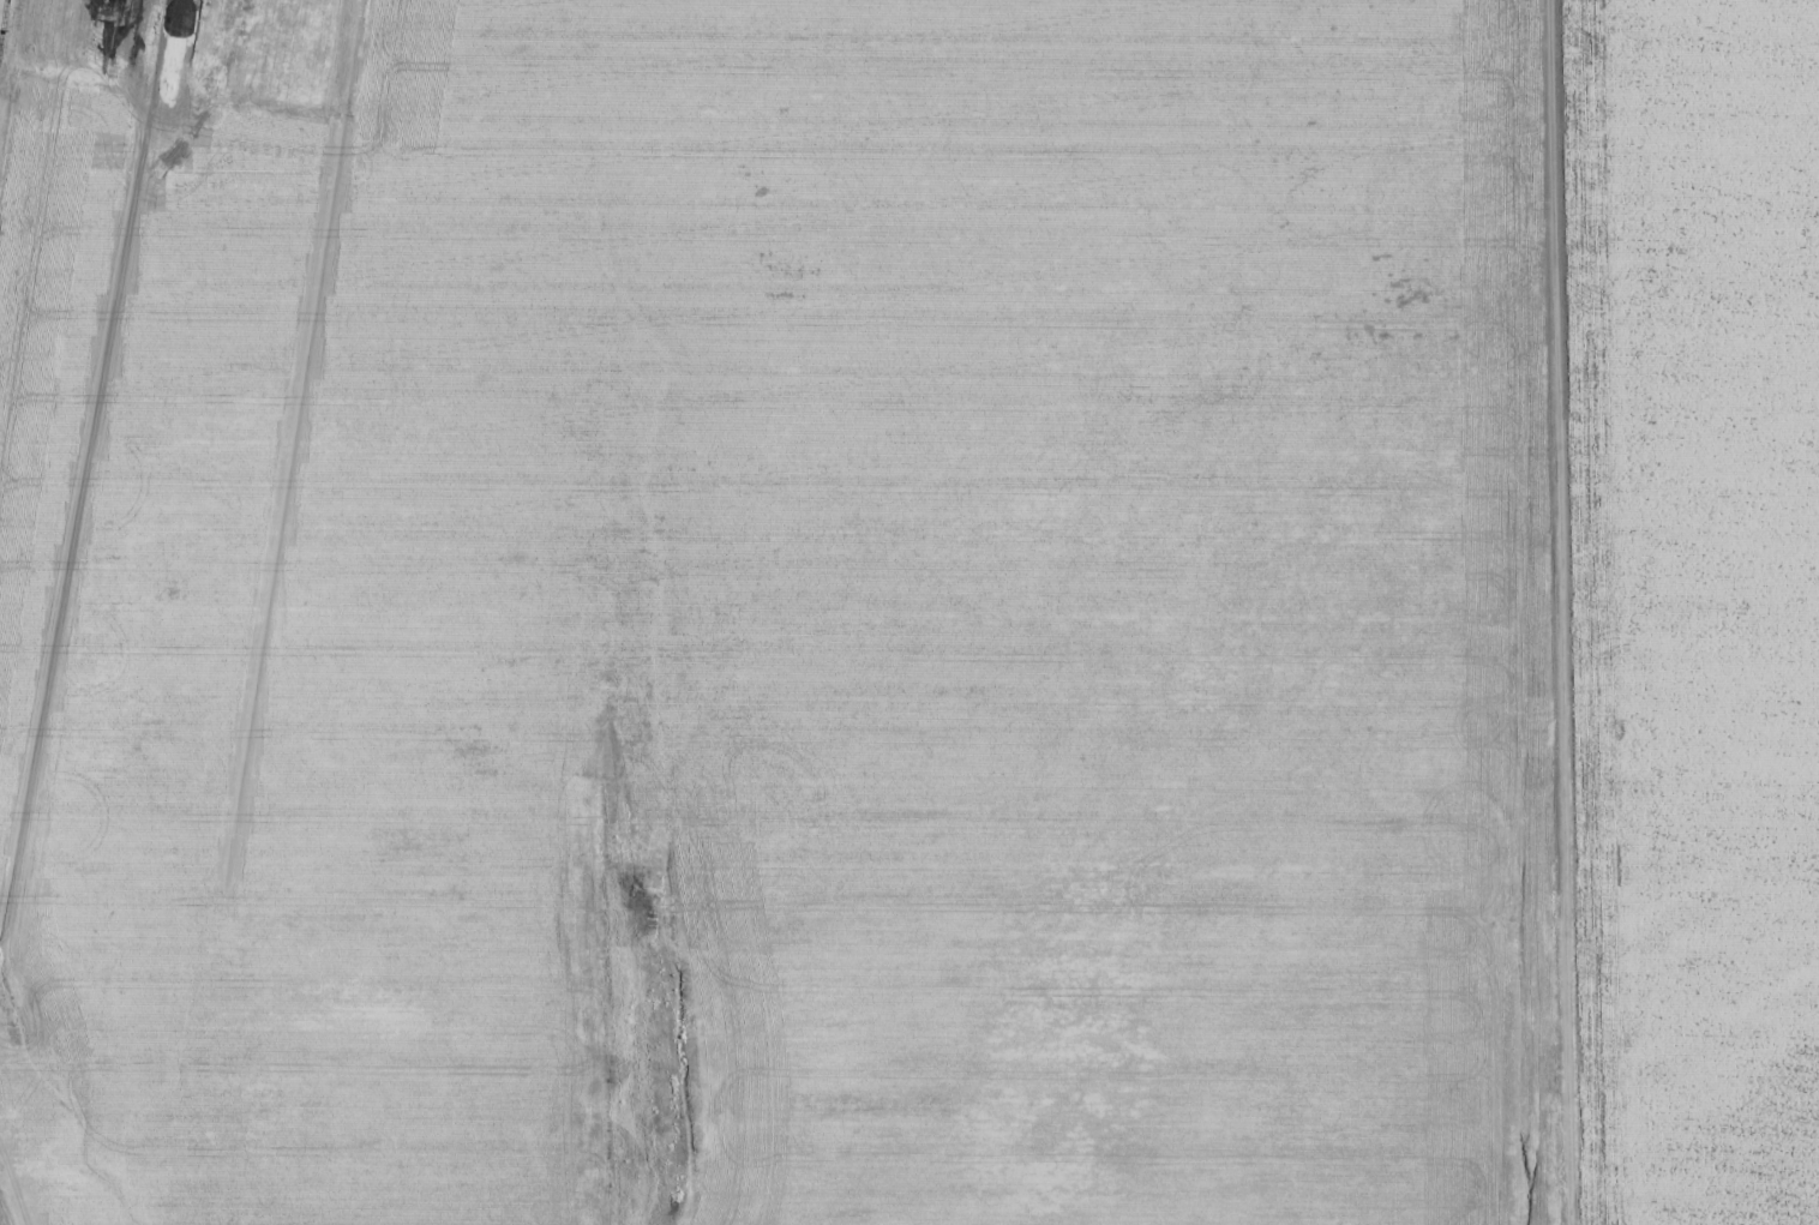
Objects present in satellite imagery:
crop: (909, 612)

